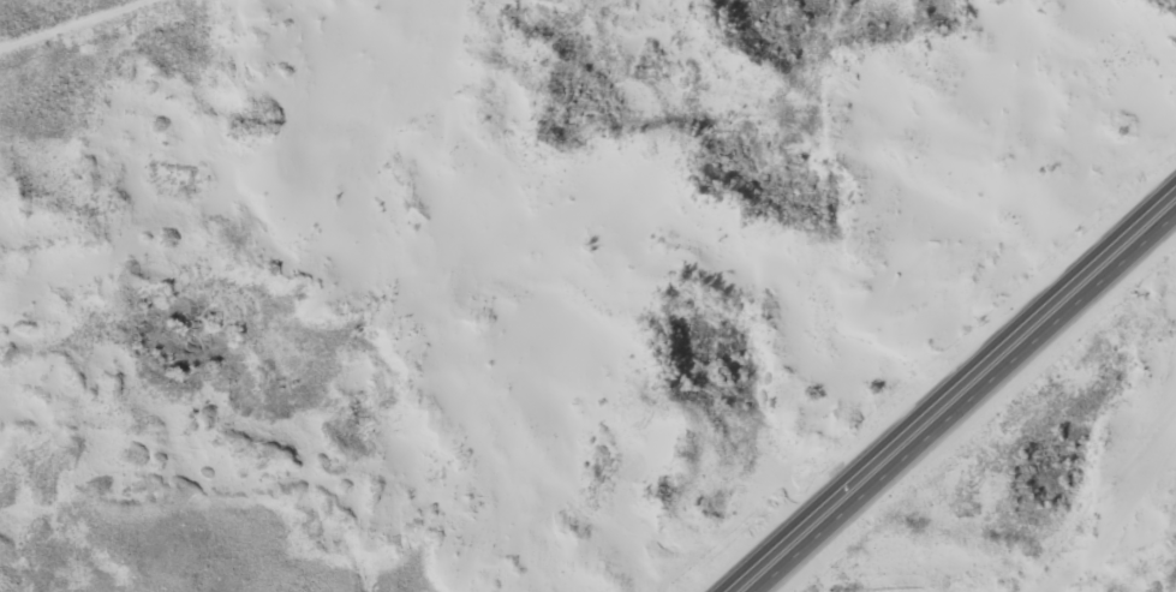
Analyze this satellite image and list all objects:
road: (962, 399)

